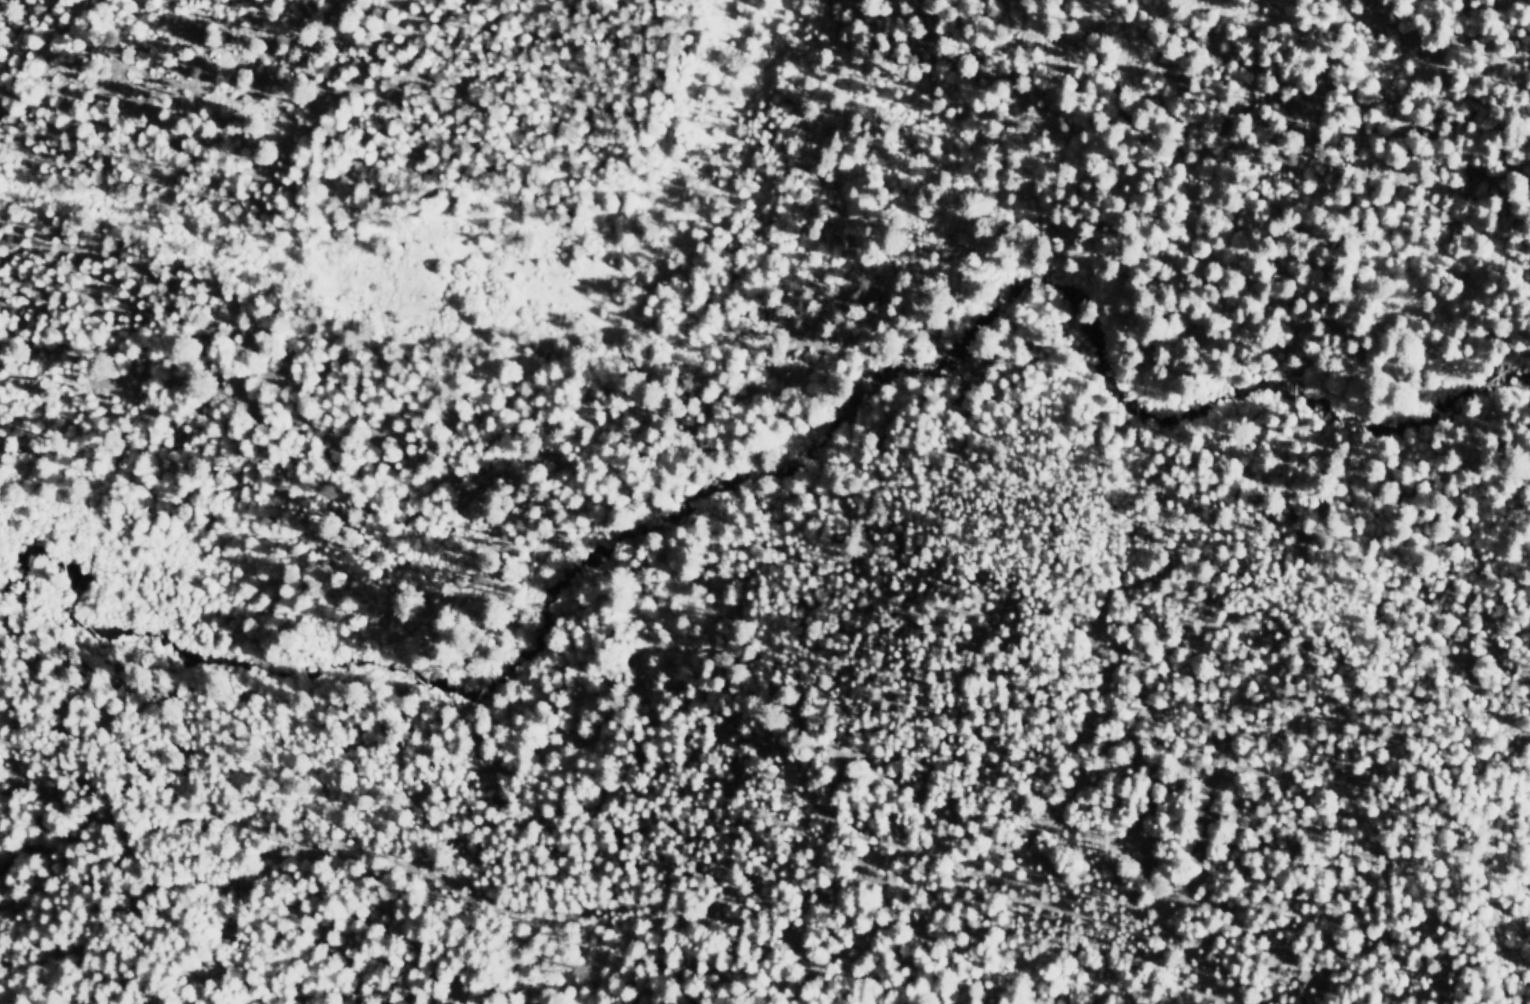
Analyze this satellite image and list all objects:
road: (298, 136)

